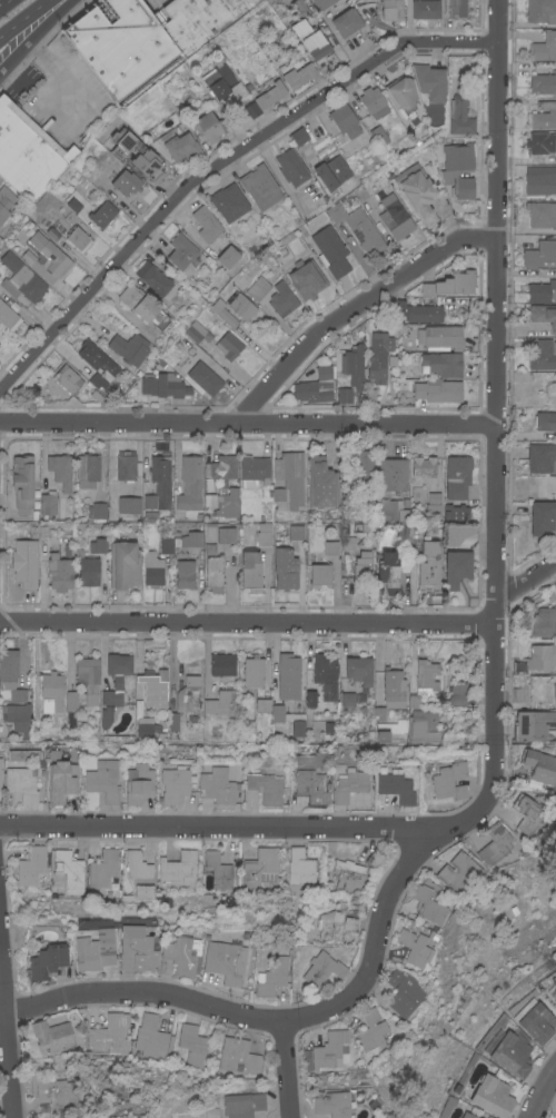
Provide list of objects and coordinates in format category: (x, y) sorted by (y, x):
road: (1, 1)
building: (320, 3)
building: (299, 8)
building: (456, 8)
building: (424, 9)
building: (389, 10)
building: (540, 11)
road: (27, 19)
building: (345, 21)
road: (497, 21)
road: (32, 34)
building: (145, 37)
building: (308, 39)
building: (544, 47)
road: (56, 70)
building: (298, 76)
building: (217, 80)
building: (428, 81)
building: (542, 83)
building: (399, 96)
building: (262, 99)
building: (370, 101)
building: (544, 115)
building: (458, 116)
building: (341, 120)
building: (207, 127)
building: (376, 135)
building: (294, 137)
building: (540, 142)
building: (177, 145)
building: (28, 152)
building: (136, 155)
building: (458, 156)
road: (218, 164)
building: (288, 167)
building: (330, 172)
building: (539, 179)
building: (125, 182)
building: (258, 186)
building: (461, 187)
building: (417, 195)
building: (4, 201)
building: (227, 201)
building: (101, 214)
building: (542, 214)
building: (394, 217)
building: (203, 224)
building: (357, 228)
building: (77, 238)
building: (330, 250)
building: (180, 251)
building: (539, 254)
building: (226, 256)
building: (47, 261)
building: (151, 277)
building: (20, 278)
building: (306, 280)
building: (449, 281)
building: (257, 288)
building: (542, 290)
building: (281, 299)
building: (240, 305)
building: (142, 306)
road: (356, 307)
building: (222, 313)
building: (417, 313)
building: (544, 315)
building: (8, 317)
building: (193, 330)
building: (439, 337)
building: (228, 345)
building: (129, 348)
building: (378, 354)
building: (543, 355)
building: (96, 357)
building: (441, 364)
building: (353, 365)
building: (406, 370)
building: (322, 372)
building: (67, 378)
building: (203, 378)
building: (162, 385)
building: (437, 390)
building: (309, 392)
building: (342, 395)
building: (545, 421)
road: (248, 423)
road: (496, 448)
building: (542, 457)
building: (126, 466)
building: (423, 466)
building: (222, 467)
building: (363, 467)
building: (158, 468)
building: (59, 469)
building: (87, 471)
building: (254, 471)
building: (391, 473)
building: (456, 476)
building: (288, 477)
building: (21, 481)
building: (189, 483)
building: (321, 483)
building: (149, 502)
building: (222, 503)
building: (128, 504)
building: (433, 504)
building: (47, 505)
building: (393, 509)
building: (96, 512)
building: (456, 513)
building: (542, 516)
building: (295, 532)
building: (262, 533)
building: (225, 534)
building: (180, 541)
building: (348, 543)
building: (97, 545)
building: (330, 547)
building: (23, 562)
building: (123, 564)
building: (428, 565)
building: (363, 567)
building: (456, 567)
building: (86, 568)
building: (151, 568)
building: (285, 568)
building: (391, 568)
building: (250, 571)
building: (58, 572)
building: (214, 573)
building: (183, 574)
building: (319, 575)
road: (526, 581)
building: (542, 622)
road: (248, 623)
building: (539, 656)
building: (221, 664)
building: (358, 670)
building: (252, 671)
building: (426, 674)
building: (10, 675)
building: (325, 675)
building: (116, 676)
building: (288, 676)
building: (52, 689)
building: (153, 690)
building: (390, 693)
building: (188, 694)
building: (457, 694)
building: (519, 694)
building: (554, 694)
building: (81, 699)
building: (308, 699)
building: (347, 699)
building: (219, 703)
building: (262, 705)
building: (277, 713)
building: (106, 716)
building: (20, 720)
building: (172, 721)
building: (533, 724)
building: (423, 726)
building: (143, 731)
building: (388, 732)
building: (20, 754)
building: (539, 765)
building: (309, 778)
building: (102, 780)
building: (449, 780)
building: (60, 781)
building: (20, 783)
building: (137, 783)
building: (347, 784)
building: (216, 785)
building: (175, 786)
building: (264, 786)
building: (395, 786)
building: (528, 813)
road: (222, 828)
building: (495, 844)
building: (375, 858)
building: (30, 864)
building: (102, 868)
building: (178, 868)
building: (258, 868)
building: (69, 871)
building: (218, 871)
building: (298, 871)
building: (458, 872)
building: (347, 874)
building: (139, 875)
building: (429, 906)
building: (336, 924)
building: (415, 946)
building: (136, 949)
building: (93, 950)
building: (181, 954)
building: (47, 961)
building: (221, 961)
building: (321, 968)
building: (270, 976)
building: (403, 992)
building: (554, 995)
building: (535, 1021)
road: (274, 1022)
building: (371, 1029)
road: (7, 1032)
building: (109, 1033)
building: (51, 1036)
building: (150, 1037)
building: (192, 1045)
building: (327, 1051)
building: (508, 1052)
building: (236, 1055)
road: (287, 1071)
road: (536, 1087)
building: (52, 1088)
building: (492, 1096)
building: (332, 1104)
building: (241, 1105)
building: (467, 1115)

